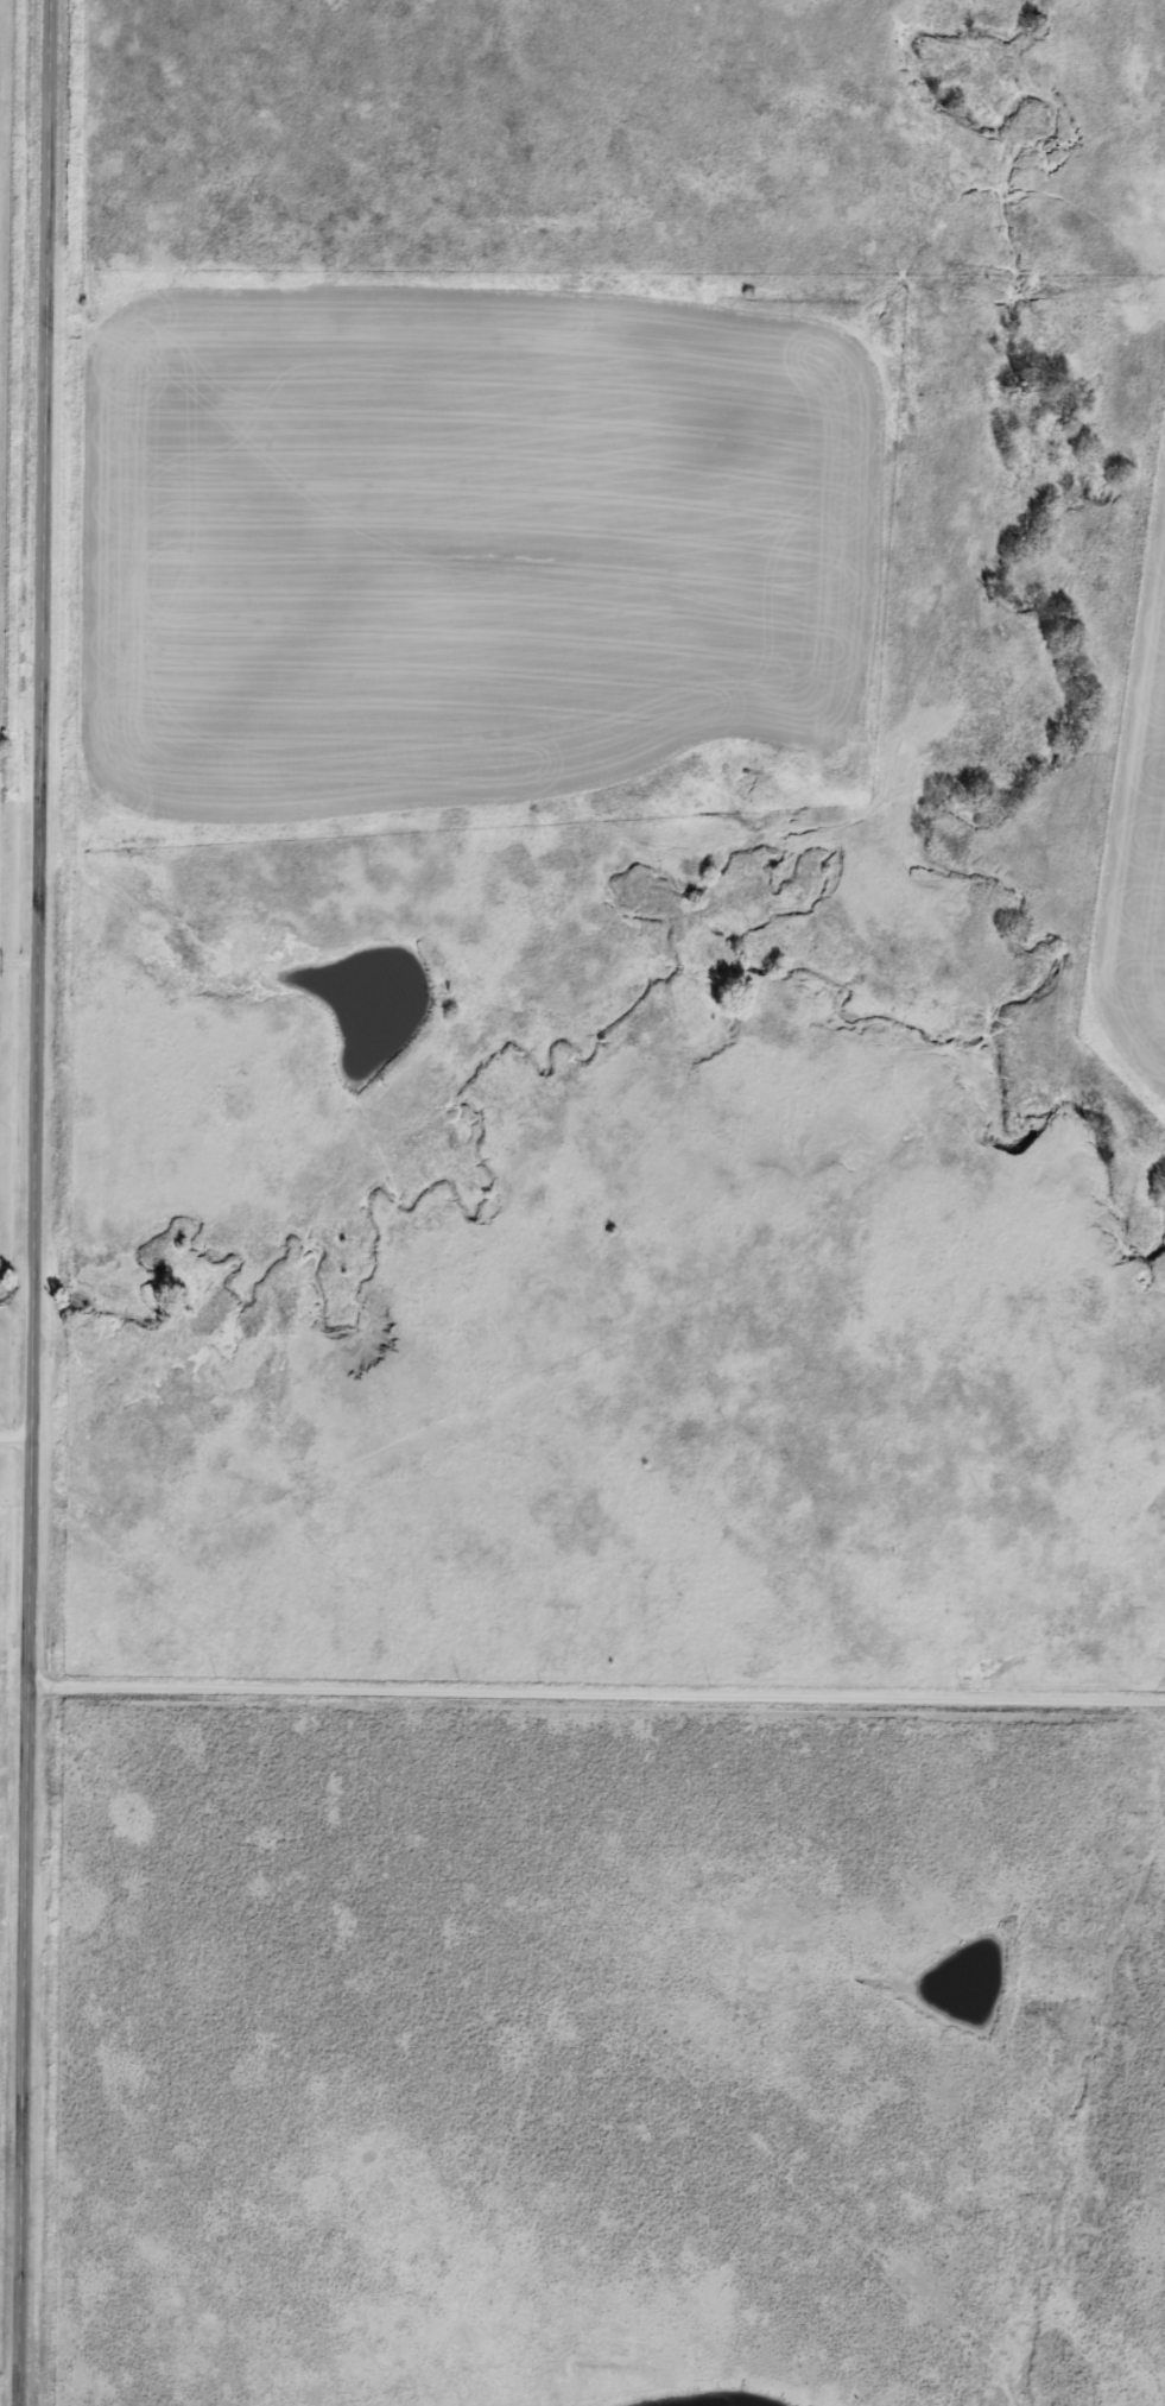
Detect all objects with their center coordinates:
road: (37, 1202)
road: (597, 1692)

